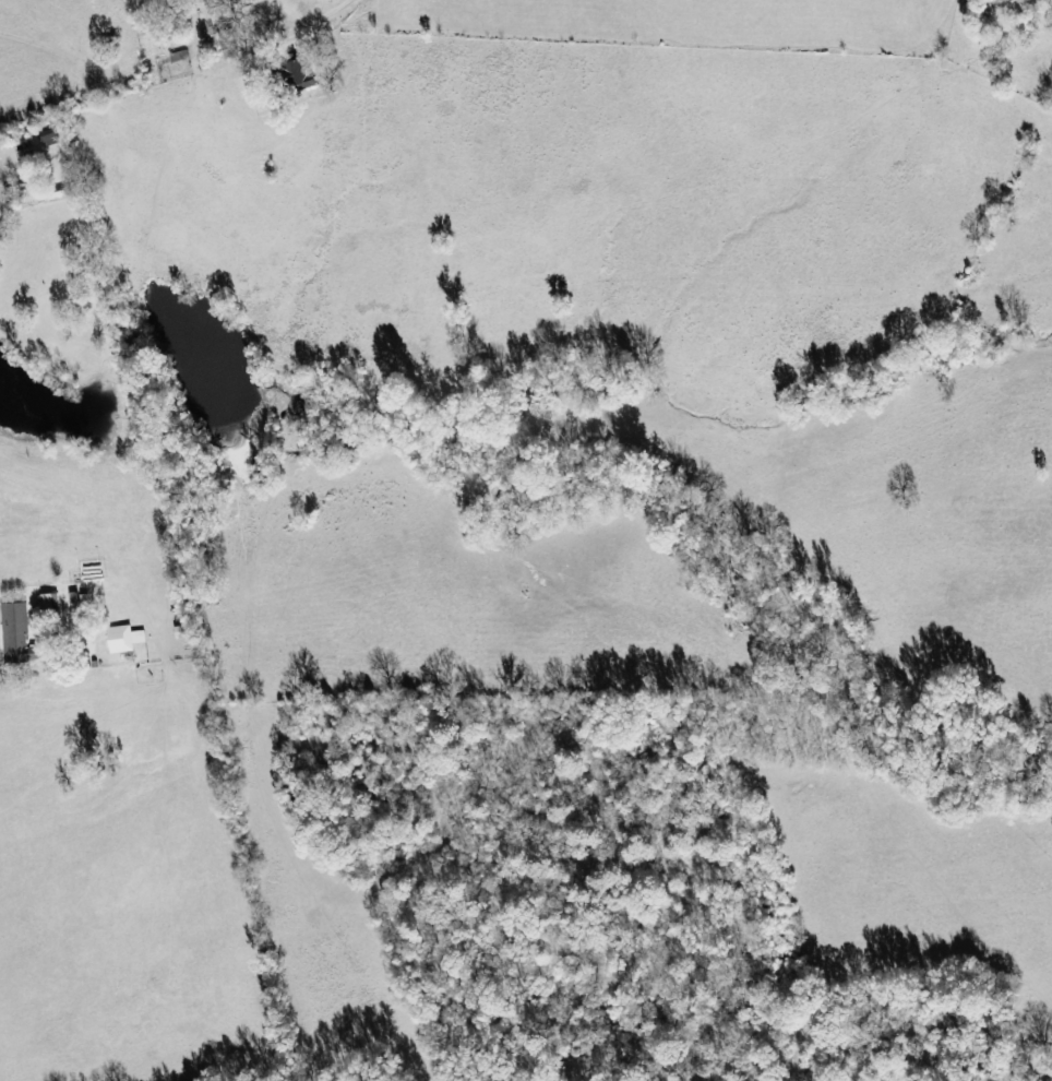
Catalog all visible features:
road: (360, 15)
building: (180, 56)
building: (300, 76)
building: (51, 603)
building: (125, 639)

